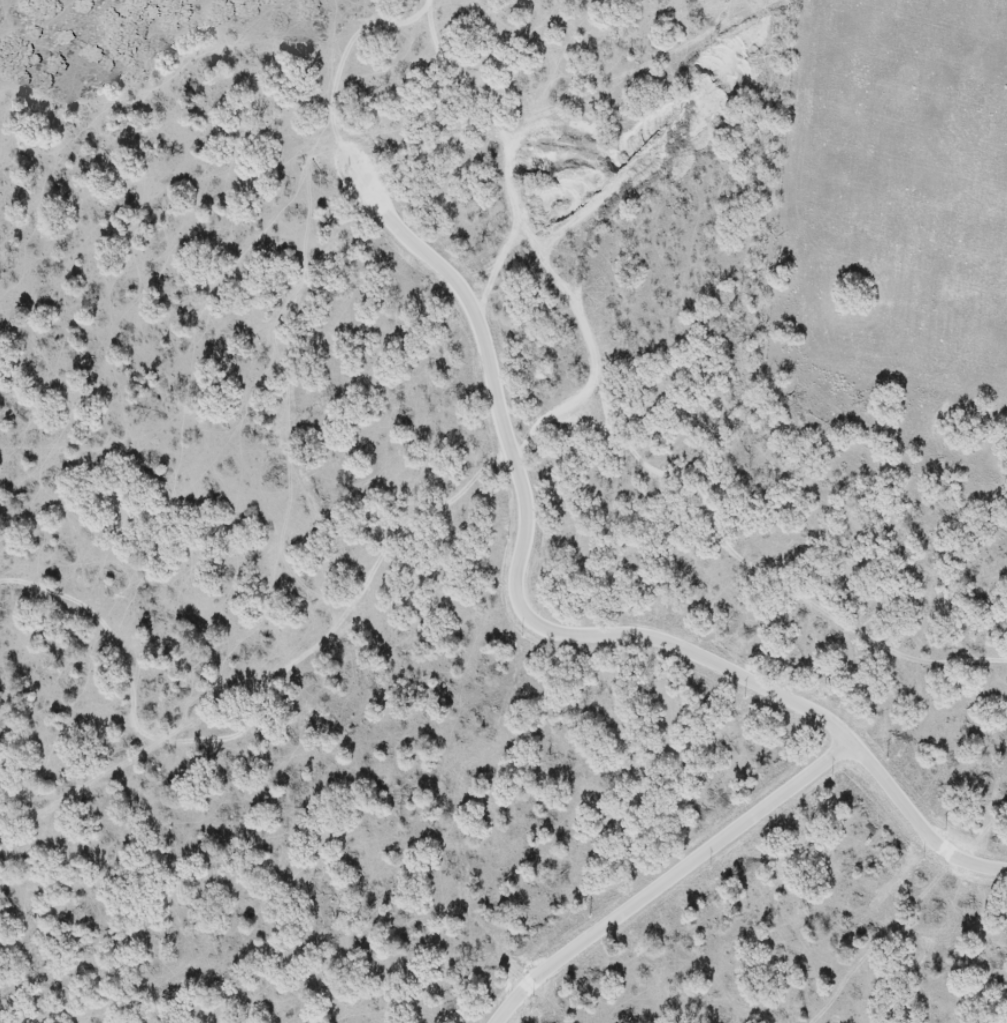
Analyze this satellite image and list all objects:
road: (610, 432)

